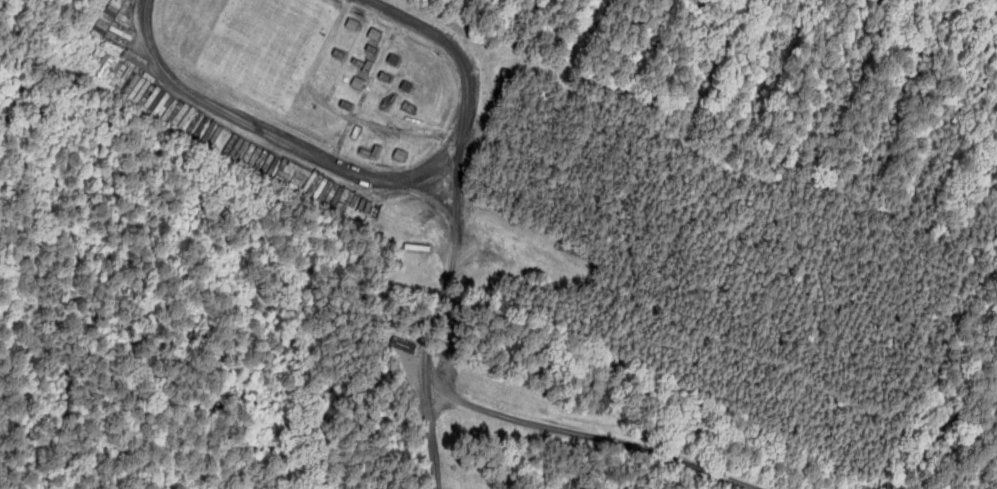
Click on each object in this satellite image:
road: (369, 184)
road: (432, 324)
road: (594, 438)

